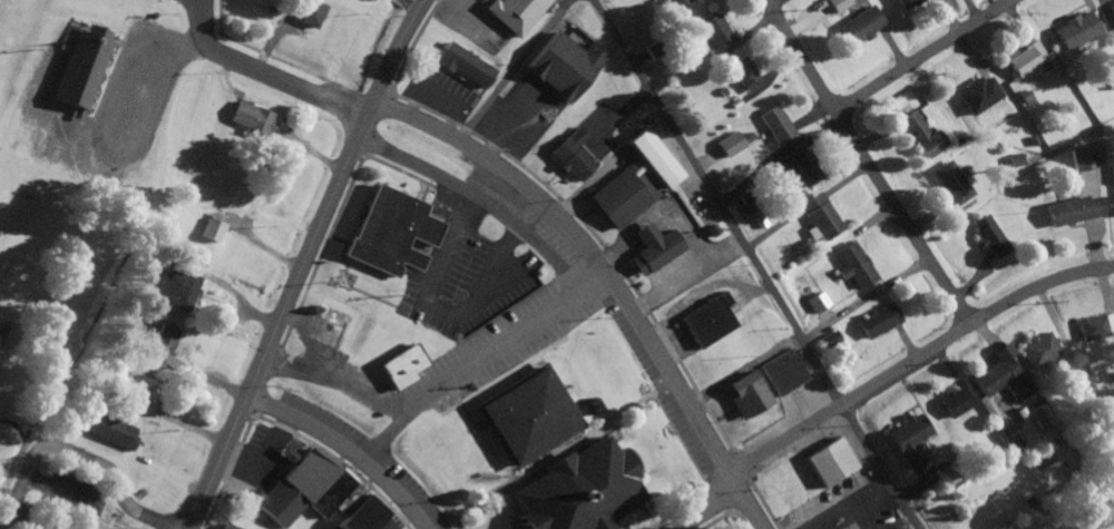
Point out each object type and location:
road: (450, 0)
building: (683, 1)
building: (903, 3)
building: (1111, 10)
building: (514, 12)
building: (306, 13)
building: (859, 27)
building: (1074, 31)
building: (713, 32)
road: (927, 56)
building: (1023, 60)
building: (561, 63)
building: (463, 66)
building: (79, 67)
road: (261, 74)
building: (741, 76)
building: (1108, 79)
building: (977, 96)
building: (248, 119)
building: (772, 125)
building: (921, 137)
building: (726, 146)
building: (570, 155)
building: (651, 157)
building: (1082, 159)
road: (870, 161)
building: (798, 166)
road: (504, 172)
building: (1112, 175)
building: (950, 184)
building: (616, 198)
road: (715, 203)
building: (1113, 206)
building: (1072, 212)
building: (818, 217)
building: (209, 231)
building: (389, 232)
building: (989, 237)
building: (651, 246)
road: (301, 263)
building: (852, 266)
road: (607, 280)
building: (176, 290)
building: (814, 304)
building: (704, 319)
building: (876, 322)
building: (326, 327)
building: (1094, 327)
building: (159, 343)
building: (1035, 350)
building: (399, 365)
building: (781, 371)
building: (999, 376)
road: (883, 379)
building: (137, 389)
building: (741, 393)
building: (951, 403)
building: (521, 415)
building: (1037, 418)
building: (110, 432)
building: (906, 440)
road: (343, 449)
road: (78, 455)
building: (828, 460)
road: (879, 467)
building: (305, 474)
building: (571, 490)
building: (325, 492)
building: (343, 500)
building: (277, 503)
building: (359, 516)
building: (70, 527)
building: (224, 527)
building: (997, 528)

